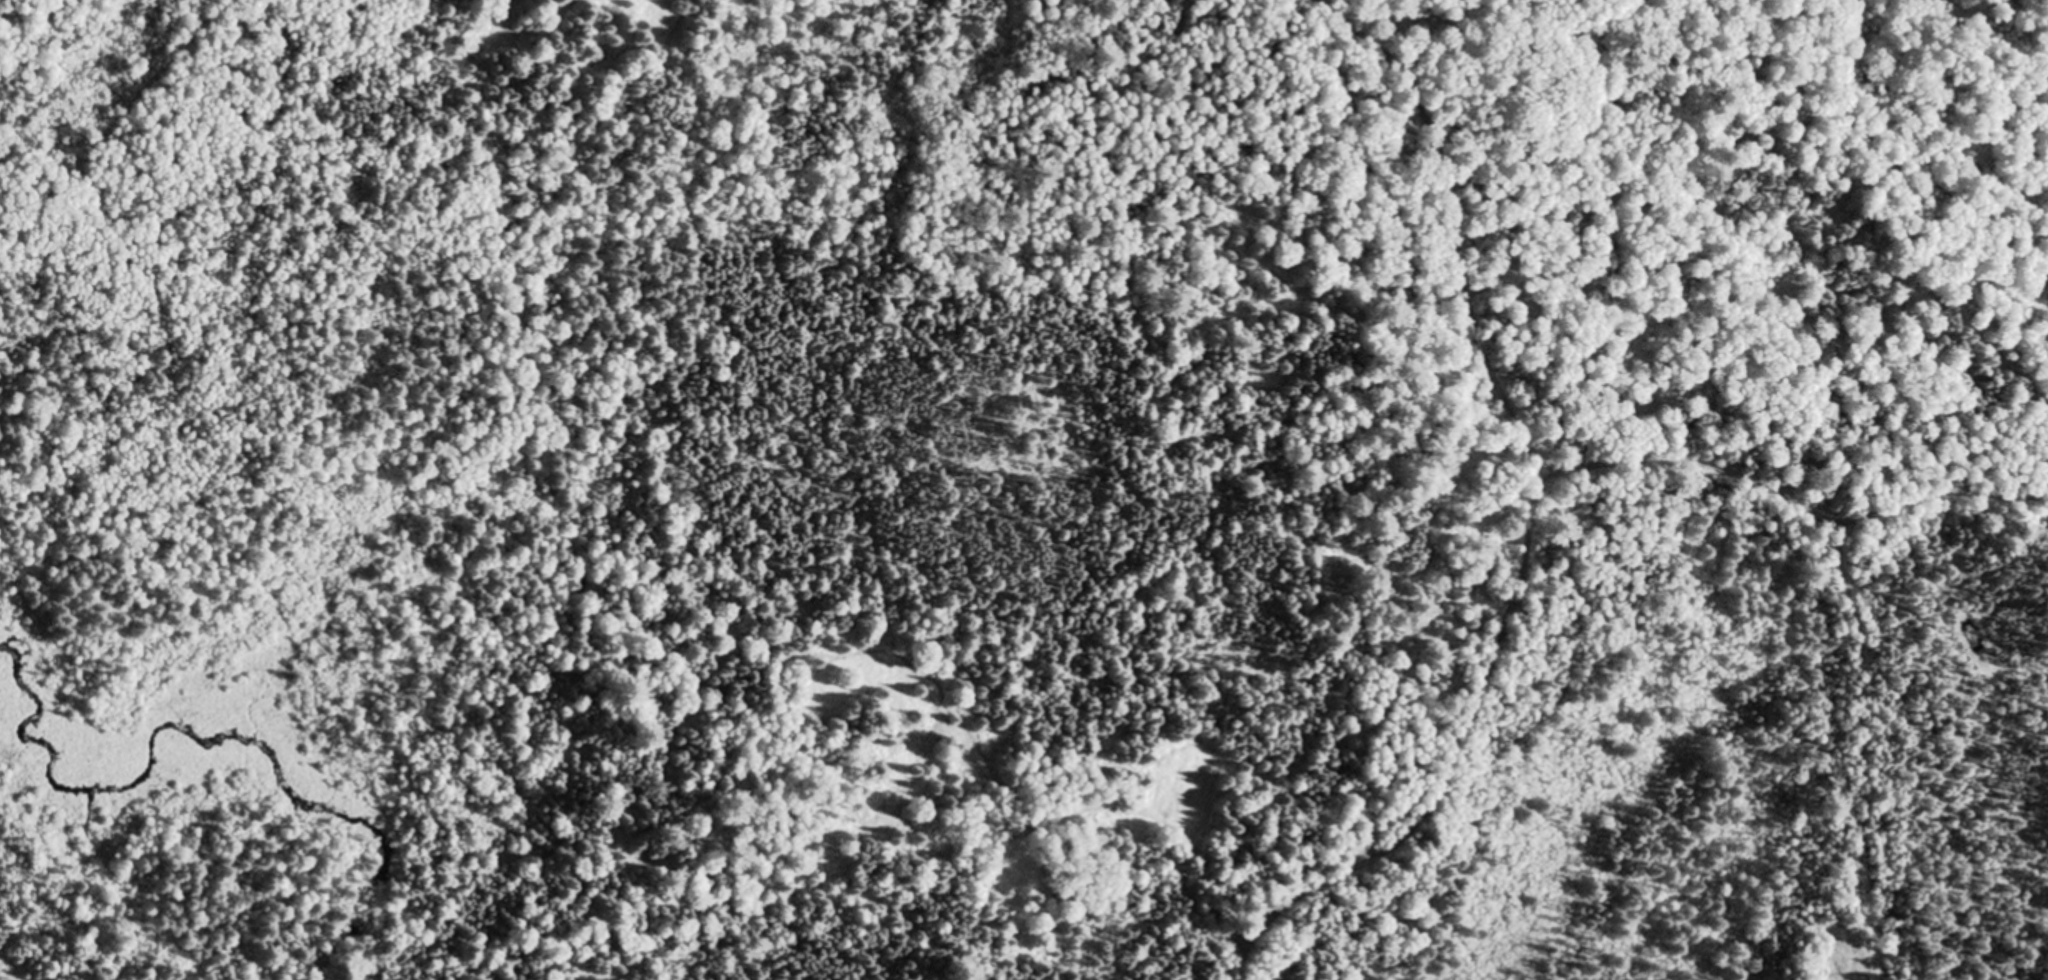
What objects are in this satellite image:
road: (1500, 495)

